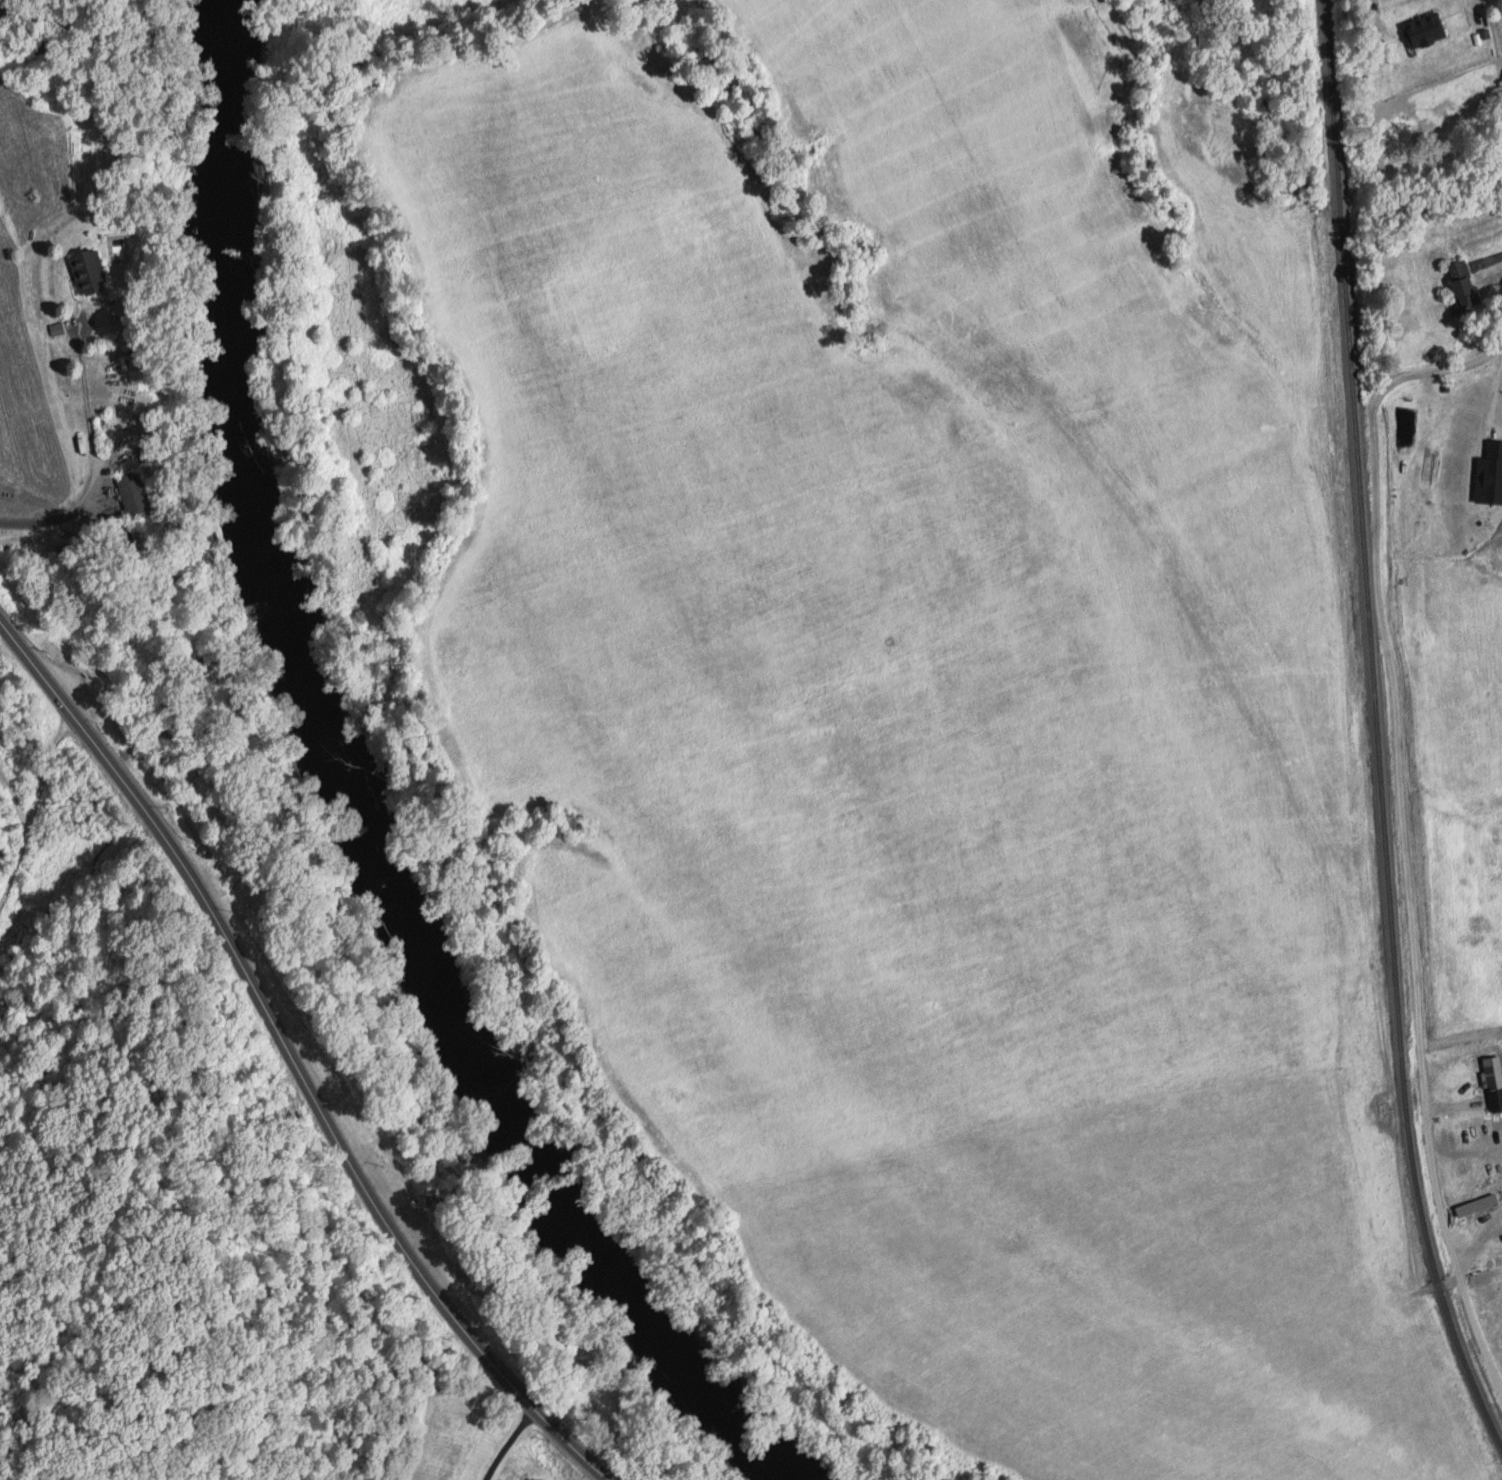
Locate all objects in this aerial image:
crop: (406, 11)
building: (1421, 31)
building: (1375, 162)
building: (85, 271)
building: (1459, 283)
building: (129, 419)
road: (95, 457)
building: (130, 491)
road: (1397, 713)
railway: (1361, 731)
road: (33, 798)
river: (336, 798)
road: (294, 1060)
building: (1491, 1073)
road: (507, 1442)

